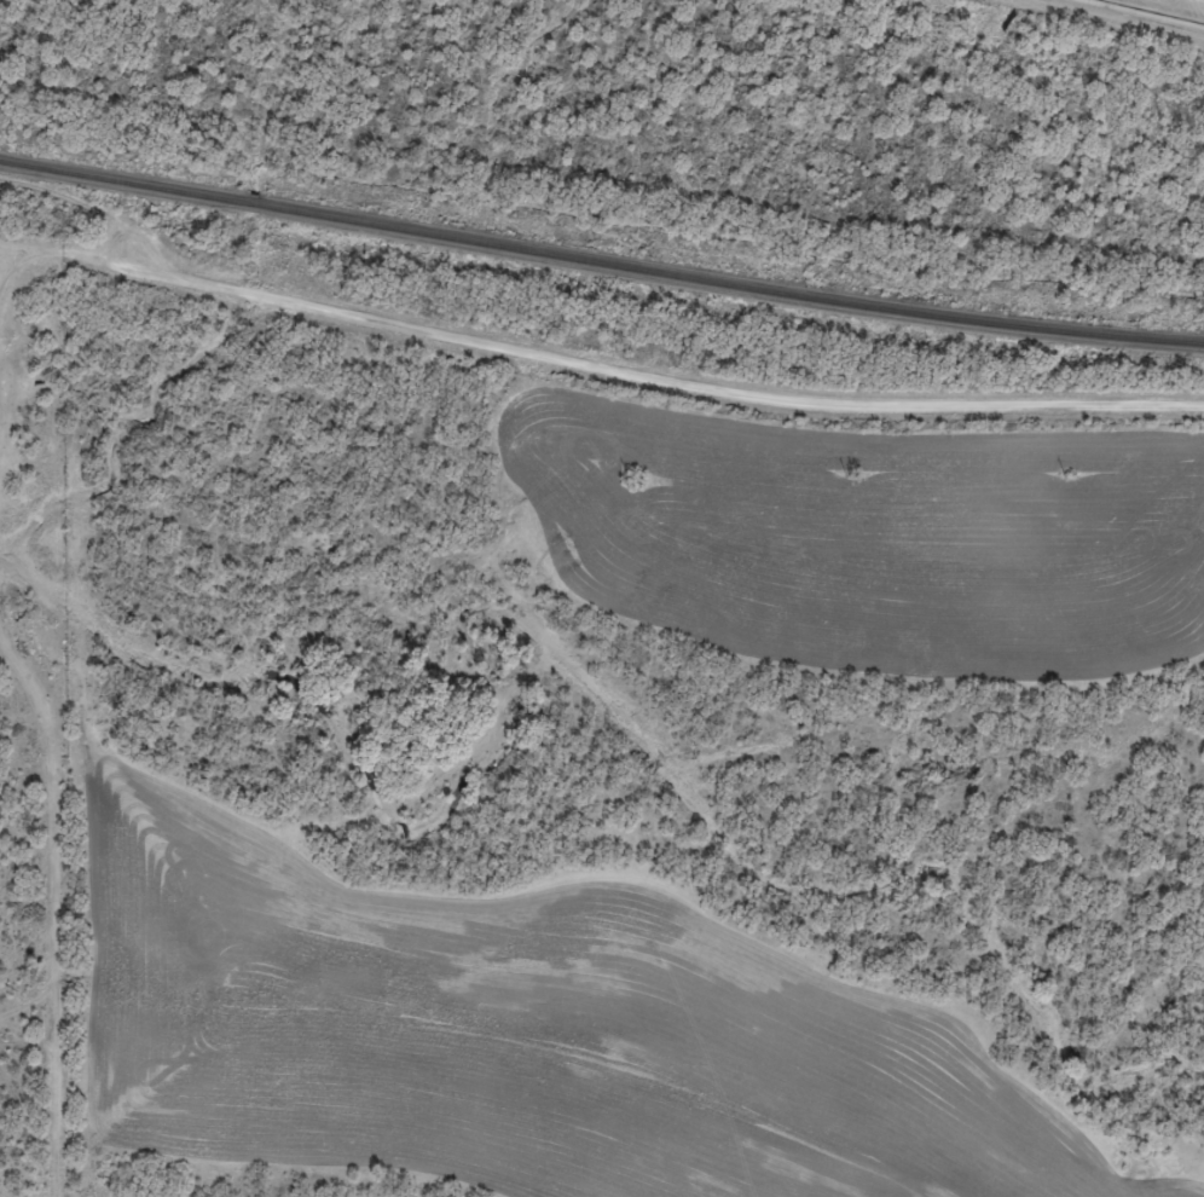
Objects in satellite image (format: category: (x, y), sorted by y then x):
road: (1118, 19)
railway: (600, 260)
road: (13, 319)
road: (50, 378)
road: (601, 381)

